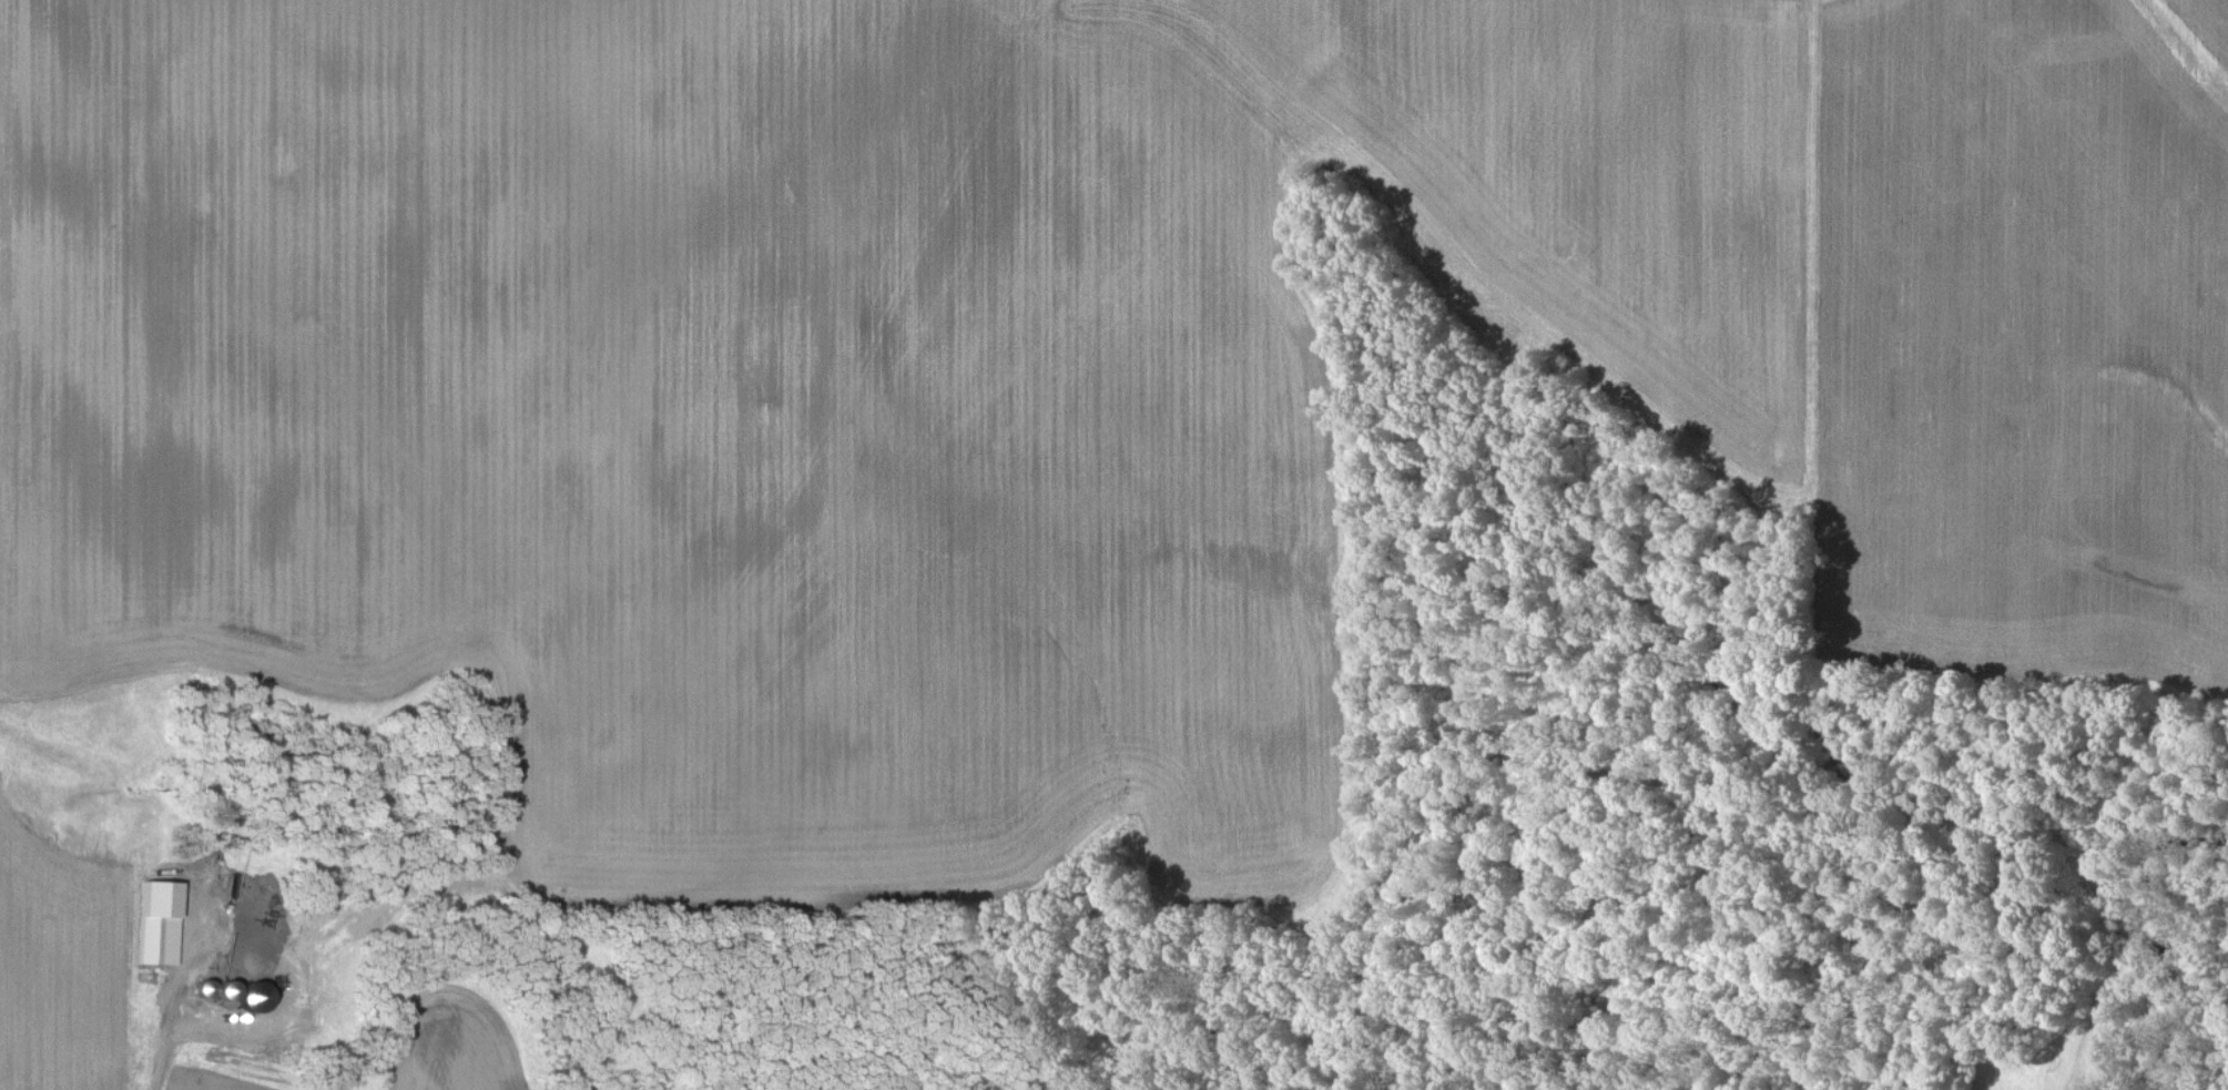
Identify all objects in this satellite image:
building: (162, 921)
road: (281, 964)
road: (163, 1059)

